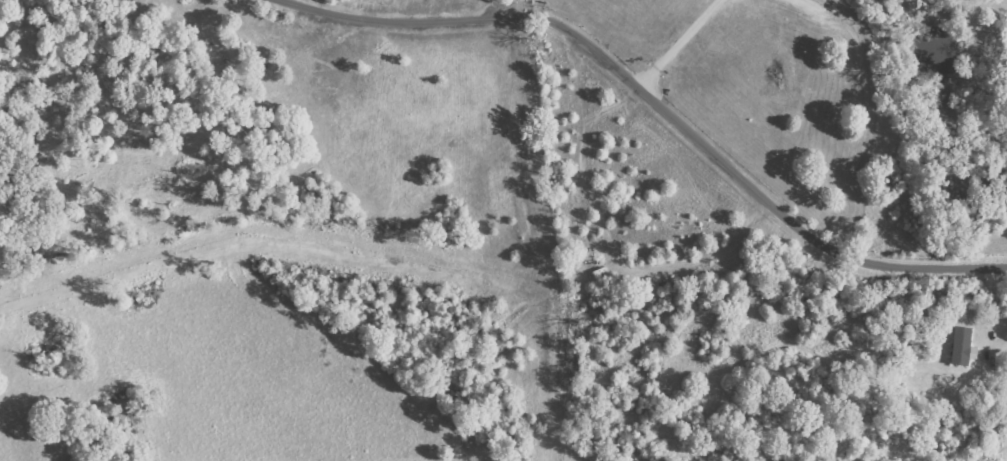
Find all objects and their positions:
road: (656, 102)
building: (960, 348)

